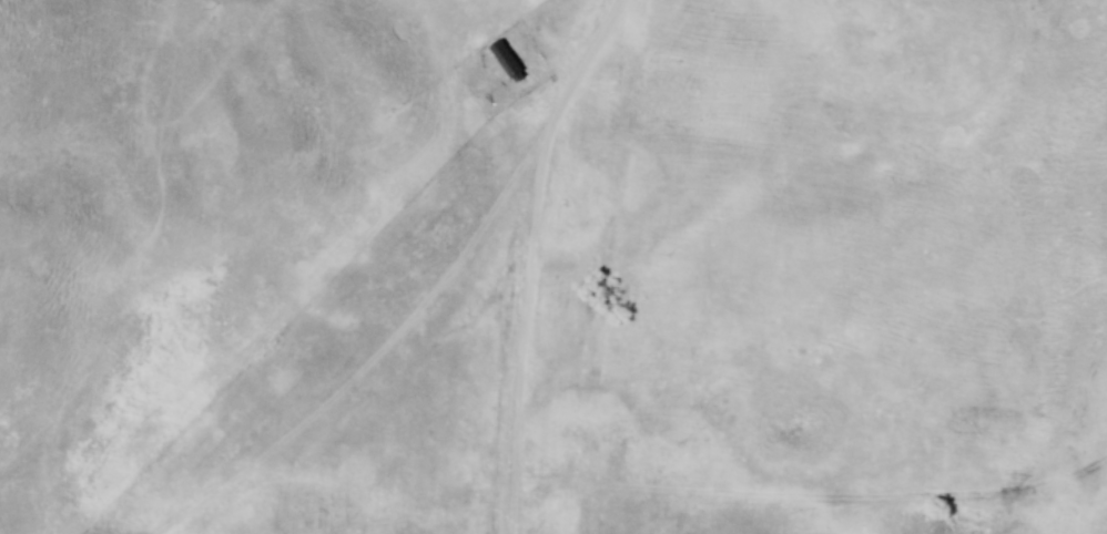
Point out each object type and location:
building: (507, 61)
road: (531, 256)

